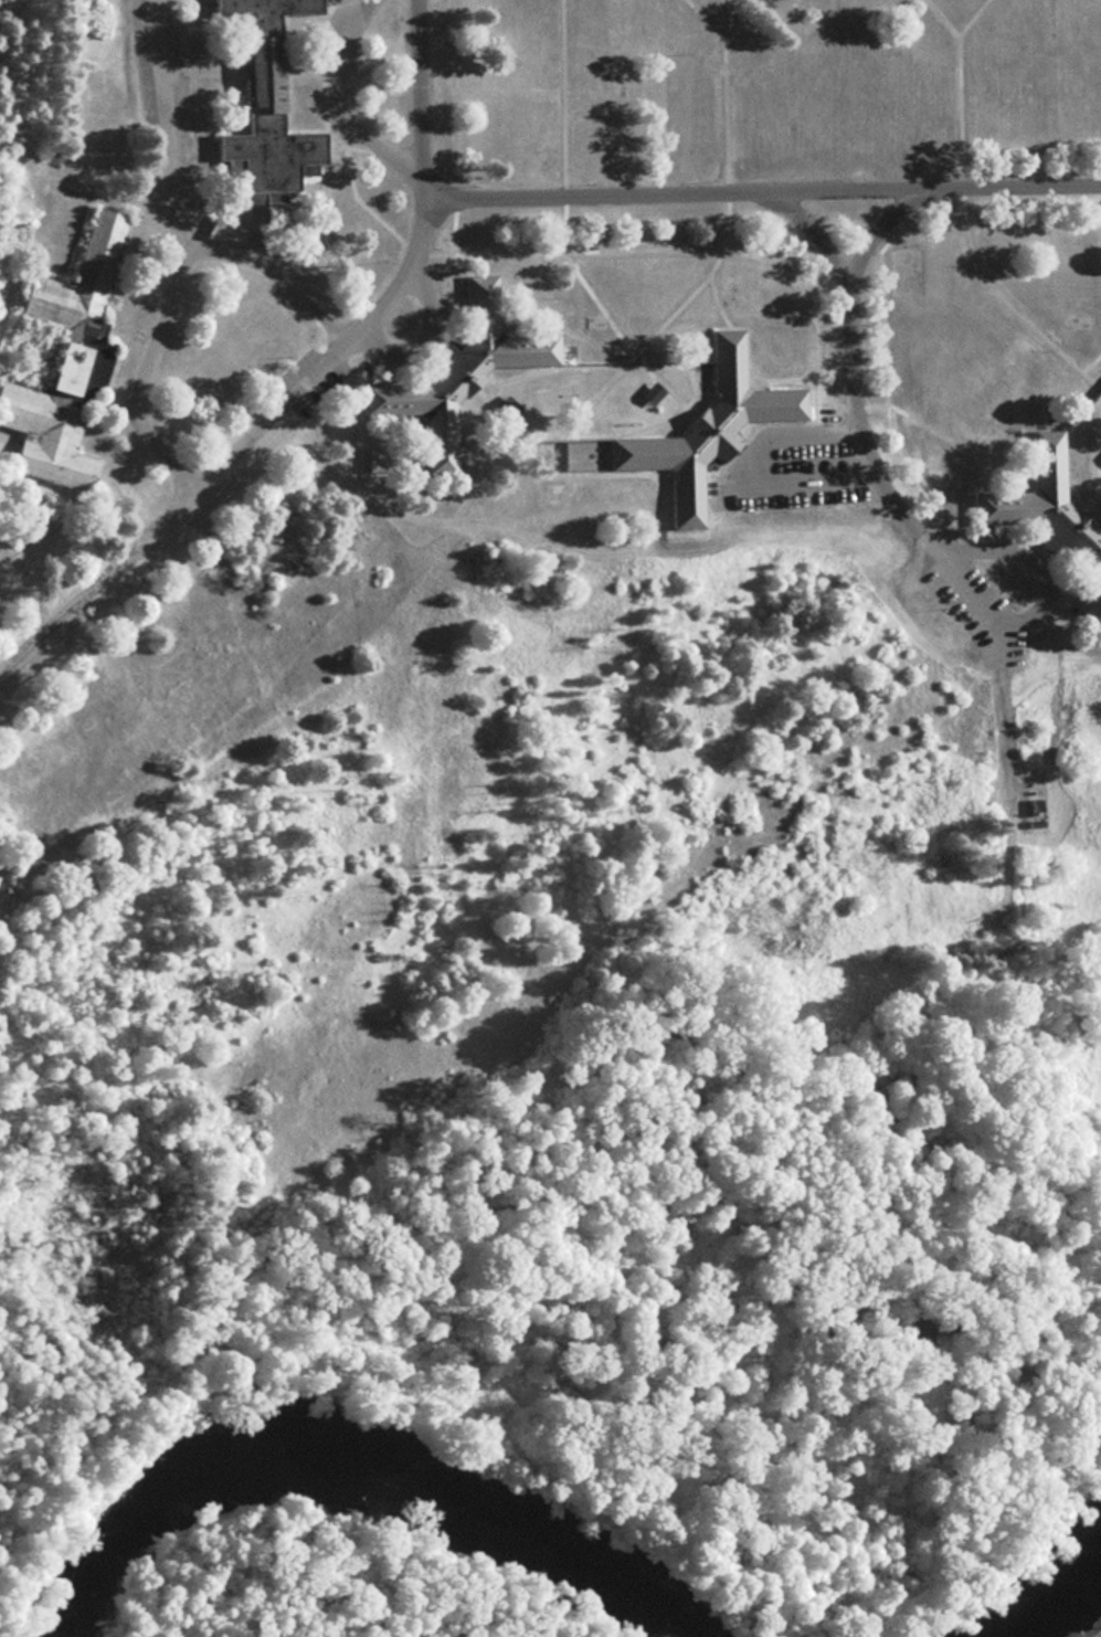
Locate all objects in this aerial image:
building: (835, 63)
building: (265, 104)
building: (879, 128)
road: (933, 184)
road: (502, 196)
road: (811, 228)
road: (231, 251)
road: (179, 254)
road: (315, 303)
building: (62, 360)
building: (458, 373)
building: (557, 397)
building: (705, 429)
road: (236, 444)
road: (878, 472)
building: (1050, 521)
road: (1039, 560)
river: (362, 1457)
river: (1044, 1592)

